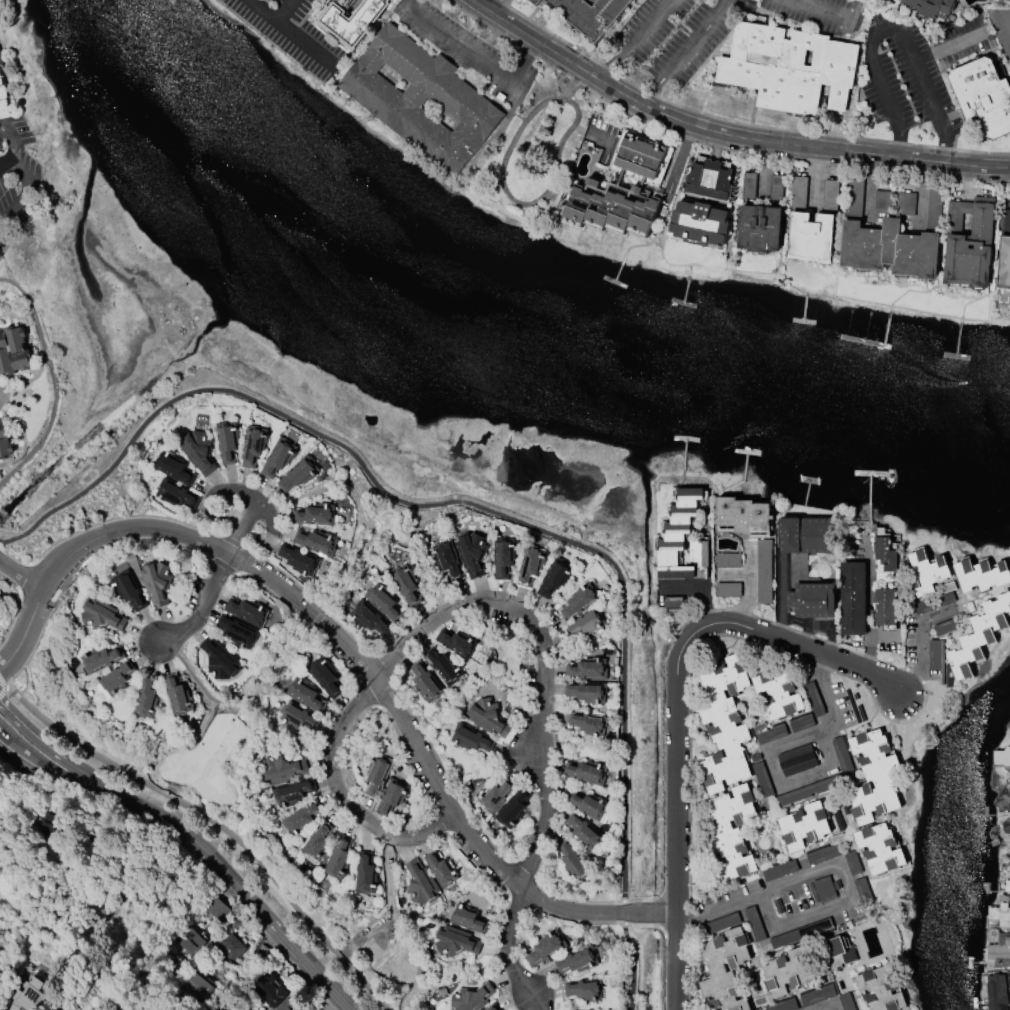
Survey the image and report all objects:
building: (885, 0)
building: (1007, 0)
building: (534, 1)
road: (494, 6)
building: (930, 7)
road: (828, 10)
road: (262, 11)
road: (285, 11)
building: (589, 15)
road: (1006, 17)
building: (352, 21)
road: (888, 29)
road: (636, 42)
road: (949, 44)
road: (304, 45)
road: (688, 52)
road: (475, 56)
building: (789, 68)
building: (2, 84)
building: (983, 96)
building: (421, 100)
road: (723, 135)
road: (12, 142)
park: (534, 153)
building: (640, 155)
road: (682, 165)
road: (0, 172)
road: (764, 173)
road: (816, 180)
building: (708, 181)
road: (26, 185)
building: (748, 186)
building: (776, 187)
building: (800, 193)
road: (870, 194)
road: (511, 195)
building: (831, 197)
road: (921, 200)
building: (883, 202)
building: (905, 203)
building: (613, 206)
building: (699, 224)
building: (759, 228)
building: (812, 237)
building: (890, 240)
building: (969, 243)
building: (1004, 251)
building: (13, 351)
river: (486, 354)
road: (54, 382)
building: (5, 442)
building: (227, 442)
building: (253, 445)
building: (198, 450)
building: (279, 458)
building: (172, 466)
building: (298, 474)
building: (176, 495)
road: (435, 503)
building: (315, 515)
building: (743, 517)
building: (677, 535)
building: (806, 535)
building: (316, 542)
road: (3, 546)
building: (472, 553)
building: (699, 553)
building: (884, 556)
building: (504, 557)
road: (231, 560)
building: (298, 560)
building: (448, 560)
building: (729, 560)
building: (531, 566)
building: (764, 572)
building: (927, 572)
road: (21, 575)
building: (982, 575)
building: (556, 578)
building: (156, 583)
building: (405, 585)
road: (750, 589)
building: (129, 590)
building: (728, 590)
road: (703, 591)
building: (853, 599)
building: (580, 600)
building: (813, 600)
building: (937, 600)
building: (384, 601)
building: (884, 607)
road: (21, 608)
road: (869, 611)
building: (247, 612)
building: (100, 615)
building: (369, 618)
building: (587, 624)
building: (238, 632)
building: (980, 636)
road: (920, 638)
building: (456, 643)
road: (352, 651)
building: (101, 660)
building: (219, 660)
road: (549, 665)
building: (443, 667)
building: (586, 670)
building: (325, 676)
building: (117, 678)
building: (425, 682)
road: (3, 683)
road: (830, 689)
building: (587, 692)
road: (3, 693)
building: (306, 694)
building: (778, 694)
building: (177, 695)
building: (146, 698)
road: (677, 710)
building: (298, 717)
building: (487, 717)
building: (588, 723)
building: (724, 724)
building: (1008, 725)
building: (783, 729)
building: (471, 739)
building: (1002, 757)
road: (62, 760)
building: (798, 760)
building: (282, 770)
building: (378, 772)
building: (589, 772)
road: (60, 776)
building: (873, 777)
building: (292, 793)
road: (339, 796)
building: (496, 796)
building: (392, 797)
building: (1004, 801)
building: (586, 805)
building: (513, 809)
road: (117, 816)
building: (300, 819)
road: (218, 825)
building: (1007, 825)
building: (804, 827)
building: (584, 830)
building: (731, 832)
building: (317, 841)
building: (879, 849)
building: (338, 859)
building: (574, 862)
road: (825, 866)
building: (441, 869)
building: (365, 874)
building: (420, 884)
building: (1007, 885)
road: (250, 898)
building: (216, 910)
road: (624, 911)
building: (1000, 915)
building: (468, 918)
building: (798, 935)
building: (188, 942)
building: (455, 942)
building: (230, 948)
building: (546, 949)
road: (278, 950)
building: (1000, 951)
building: (836, 952)
road: (509, 955)
building: (577, 961)
road: (634, 966)
building: (724, 970)
building: (786, 972)
building: (1008, 981)
building: (195, 988)
building: (267, 989)
building: (585, 990)
building: (880, 990)
building: (996, 992)
building: (28, 996)
building: (817, 996)
building: (472, 998)
road: (826, 1005)
building: (285, 1006)
building: (784, 1006)
building: (492, 1007)
building: (1009, 1007)
building: (136, 1008)
building: (51, 1009)
building: (52, 1009)

